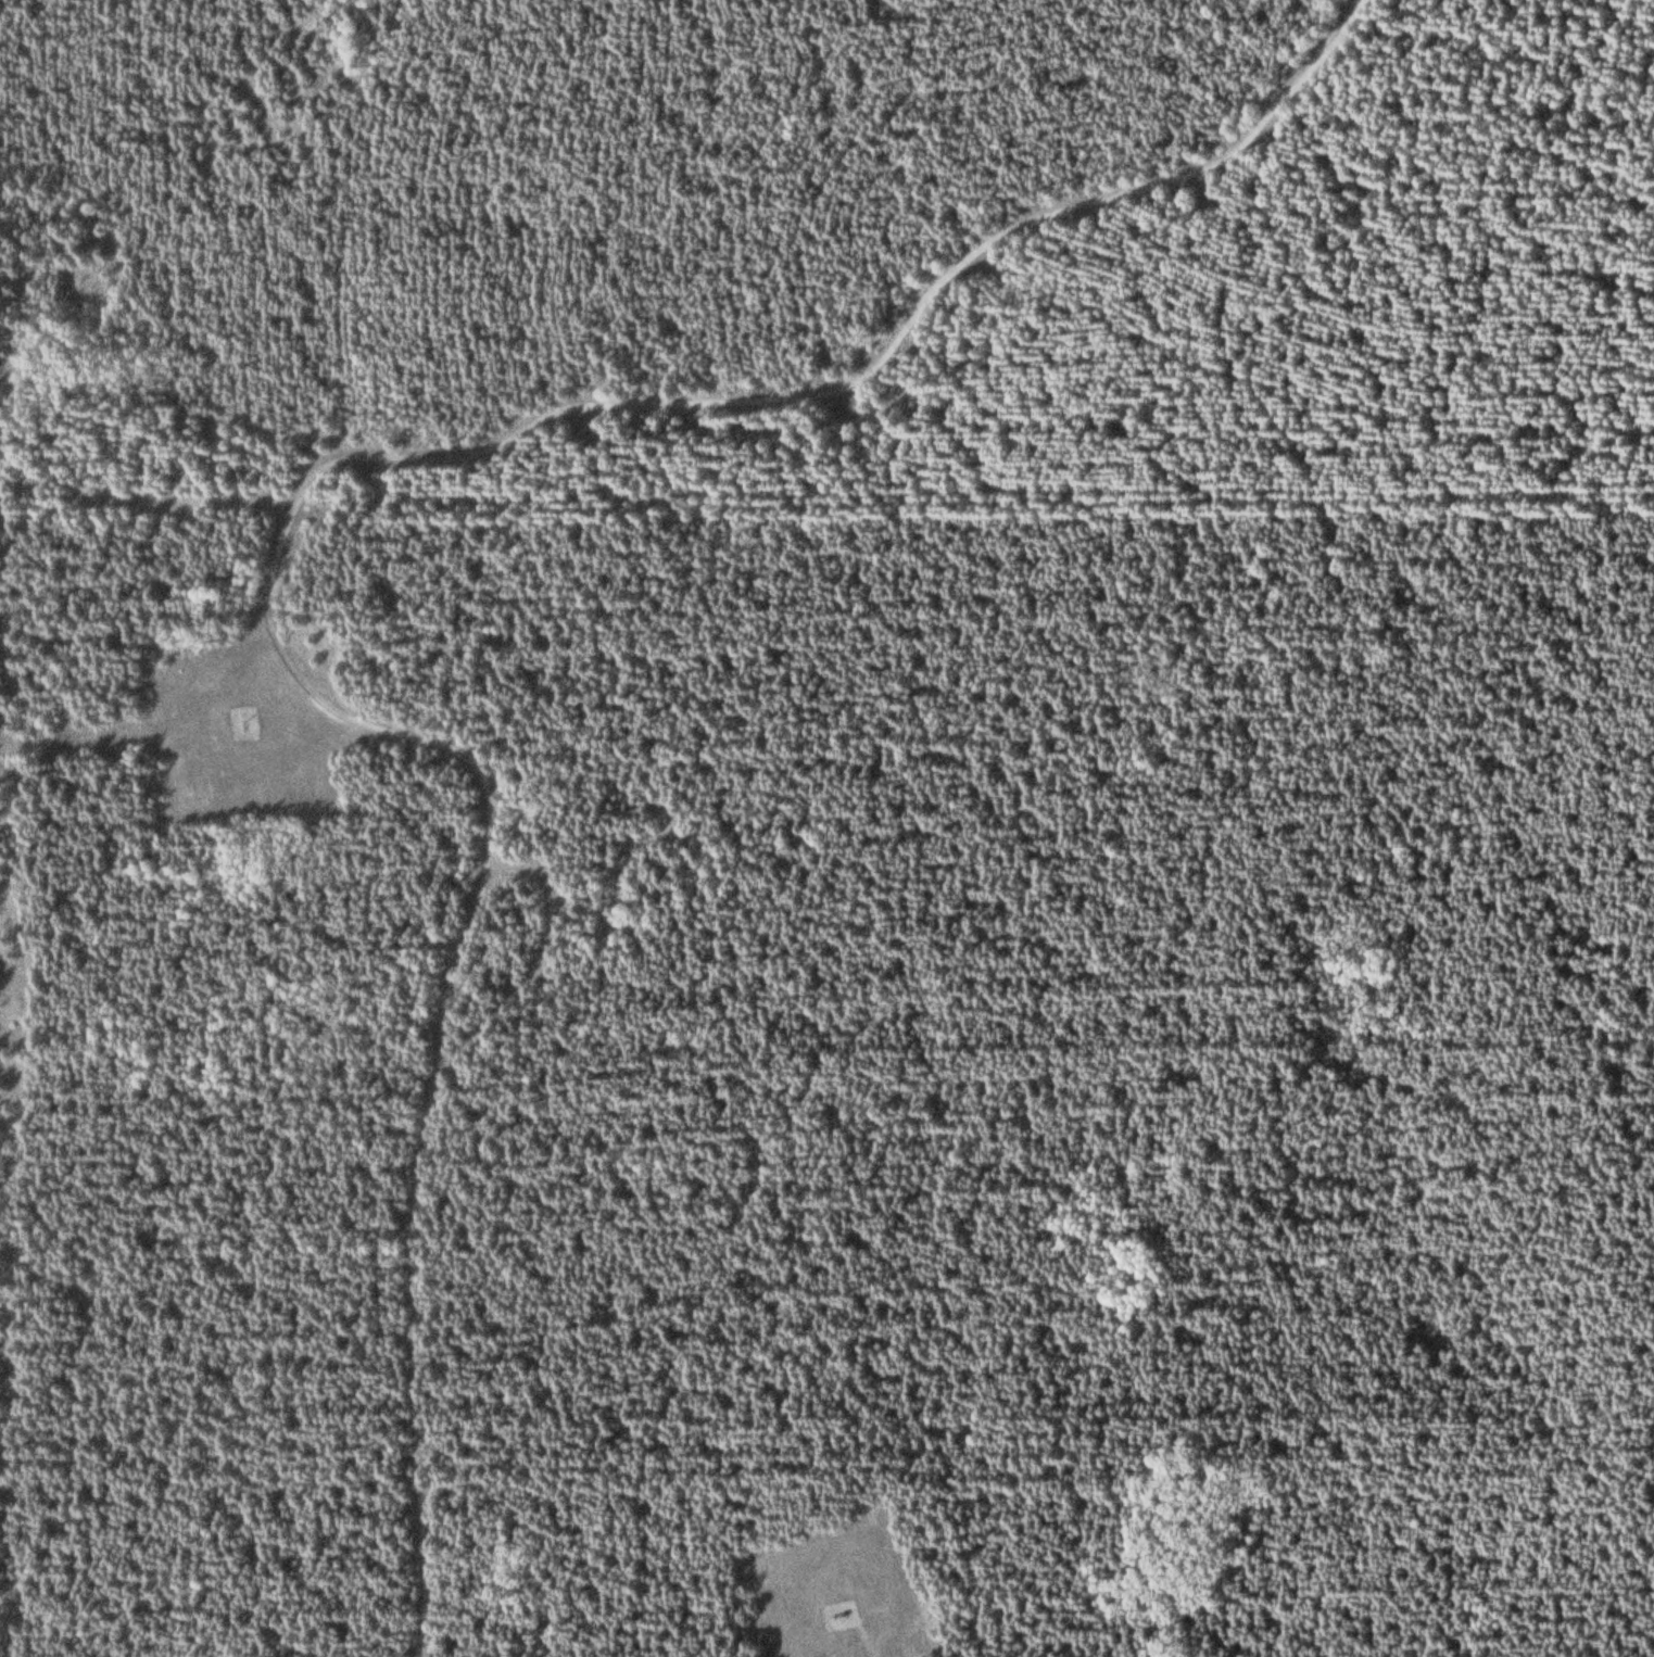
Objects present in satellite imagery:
road: (831, 384)
road: (161, 718)
road: (1172, 941)
road: (432, 1070)
petroleum well: (851, 1606)

